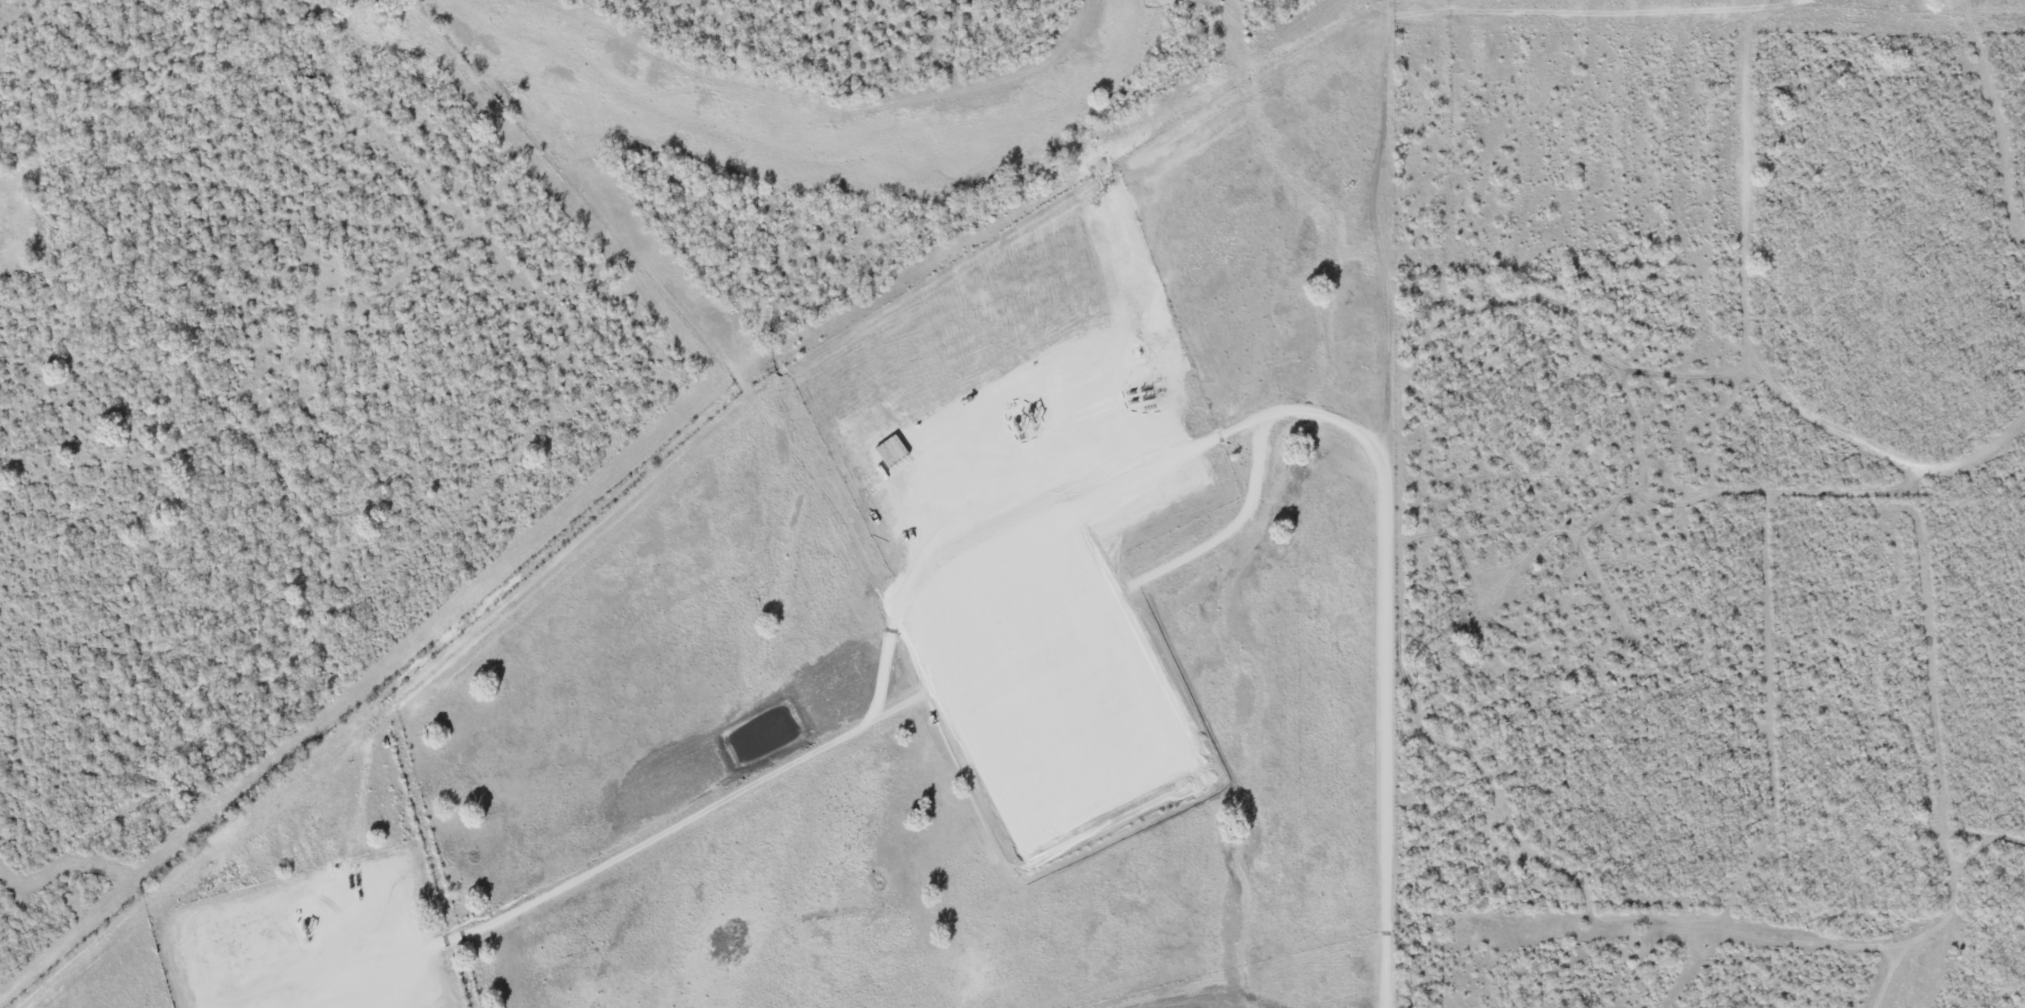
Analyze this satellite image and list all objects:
river: (384, 3)
river: (114, 71)
river: (854, 160)
road: (1379, 448)
road: (799, 760)

